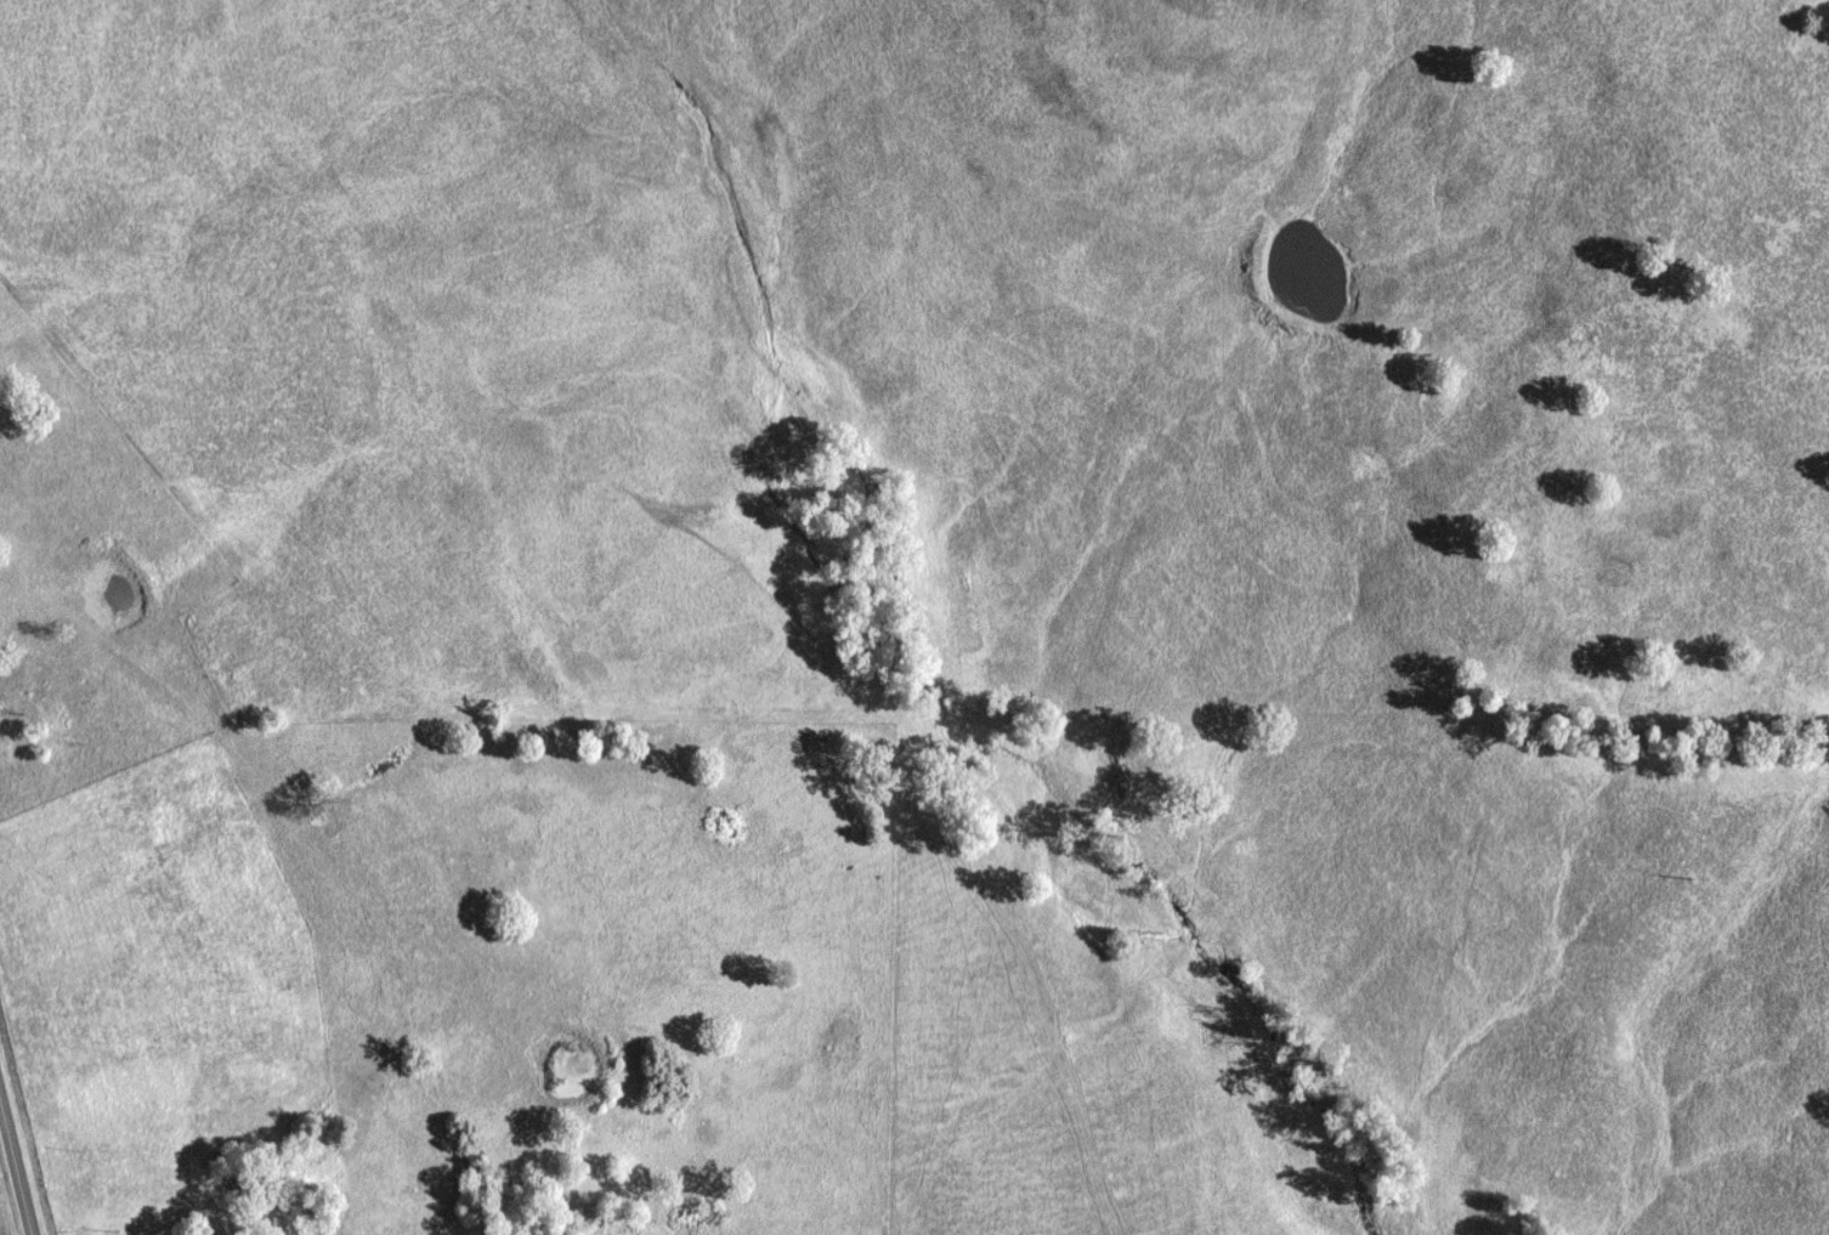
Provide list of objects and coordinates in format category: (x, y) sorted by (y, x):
road: (17, 1171)

